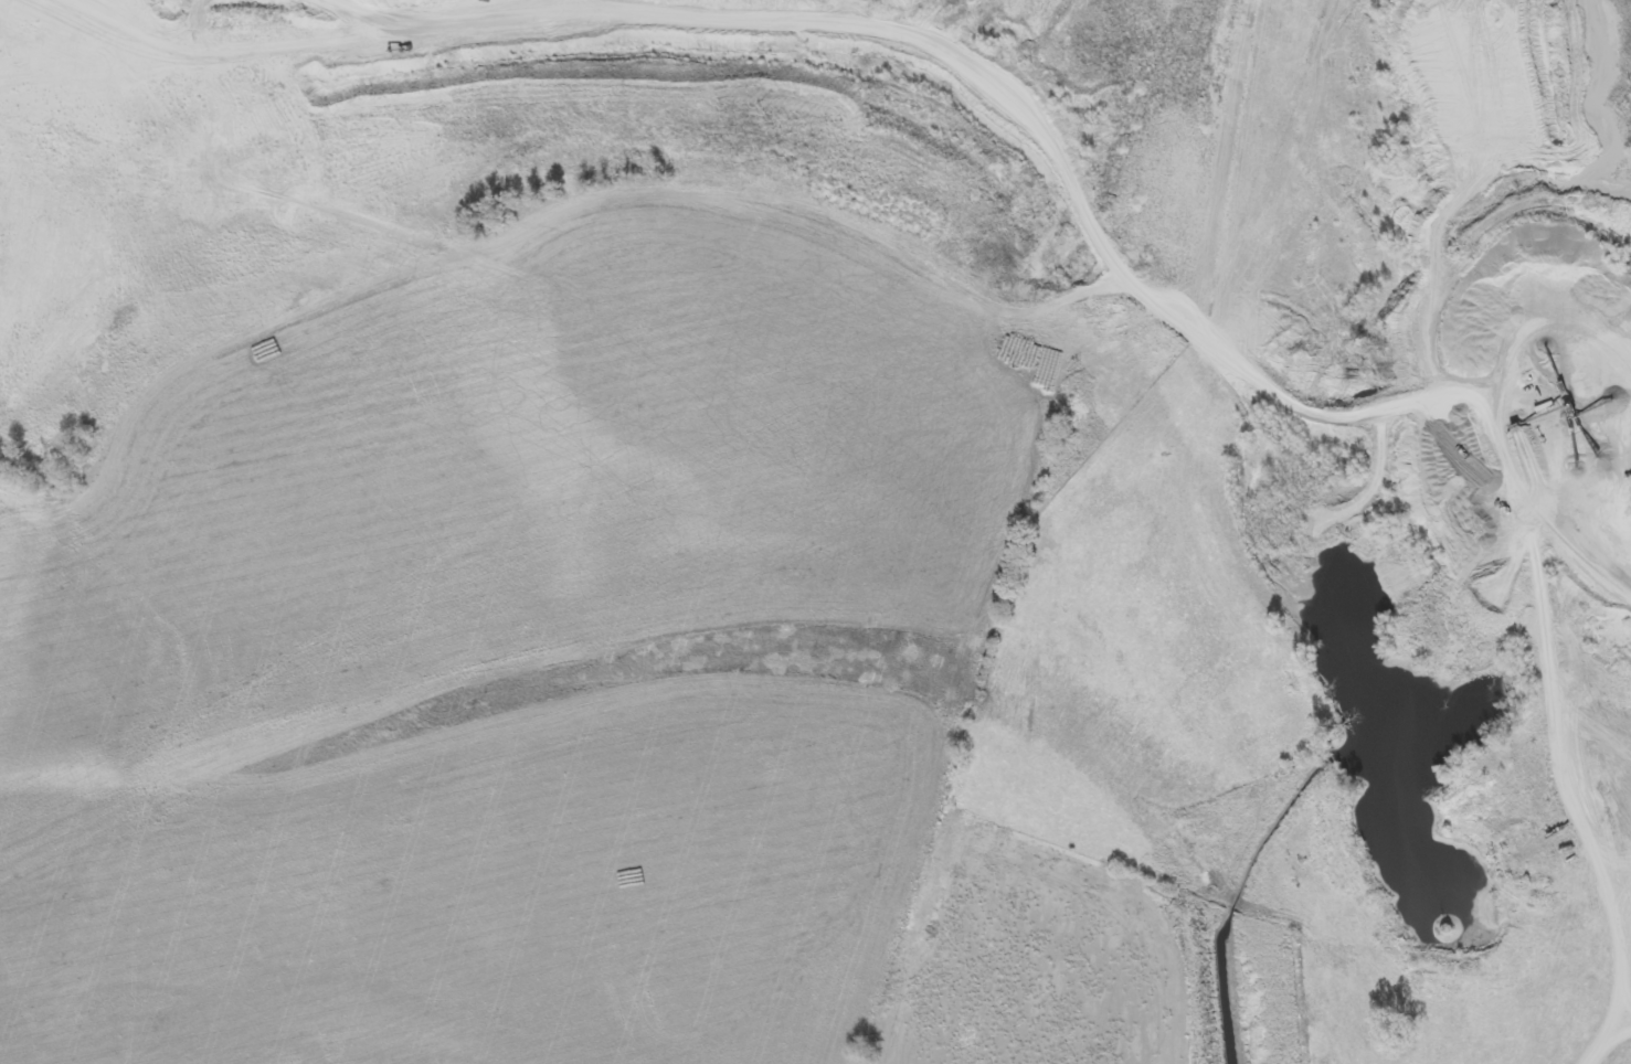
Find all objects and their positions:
road: (1062, 174)
road: (1550, 913)

